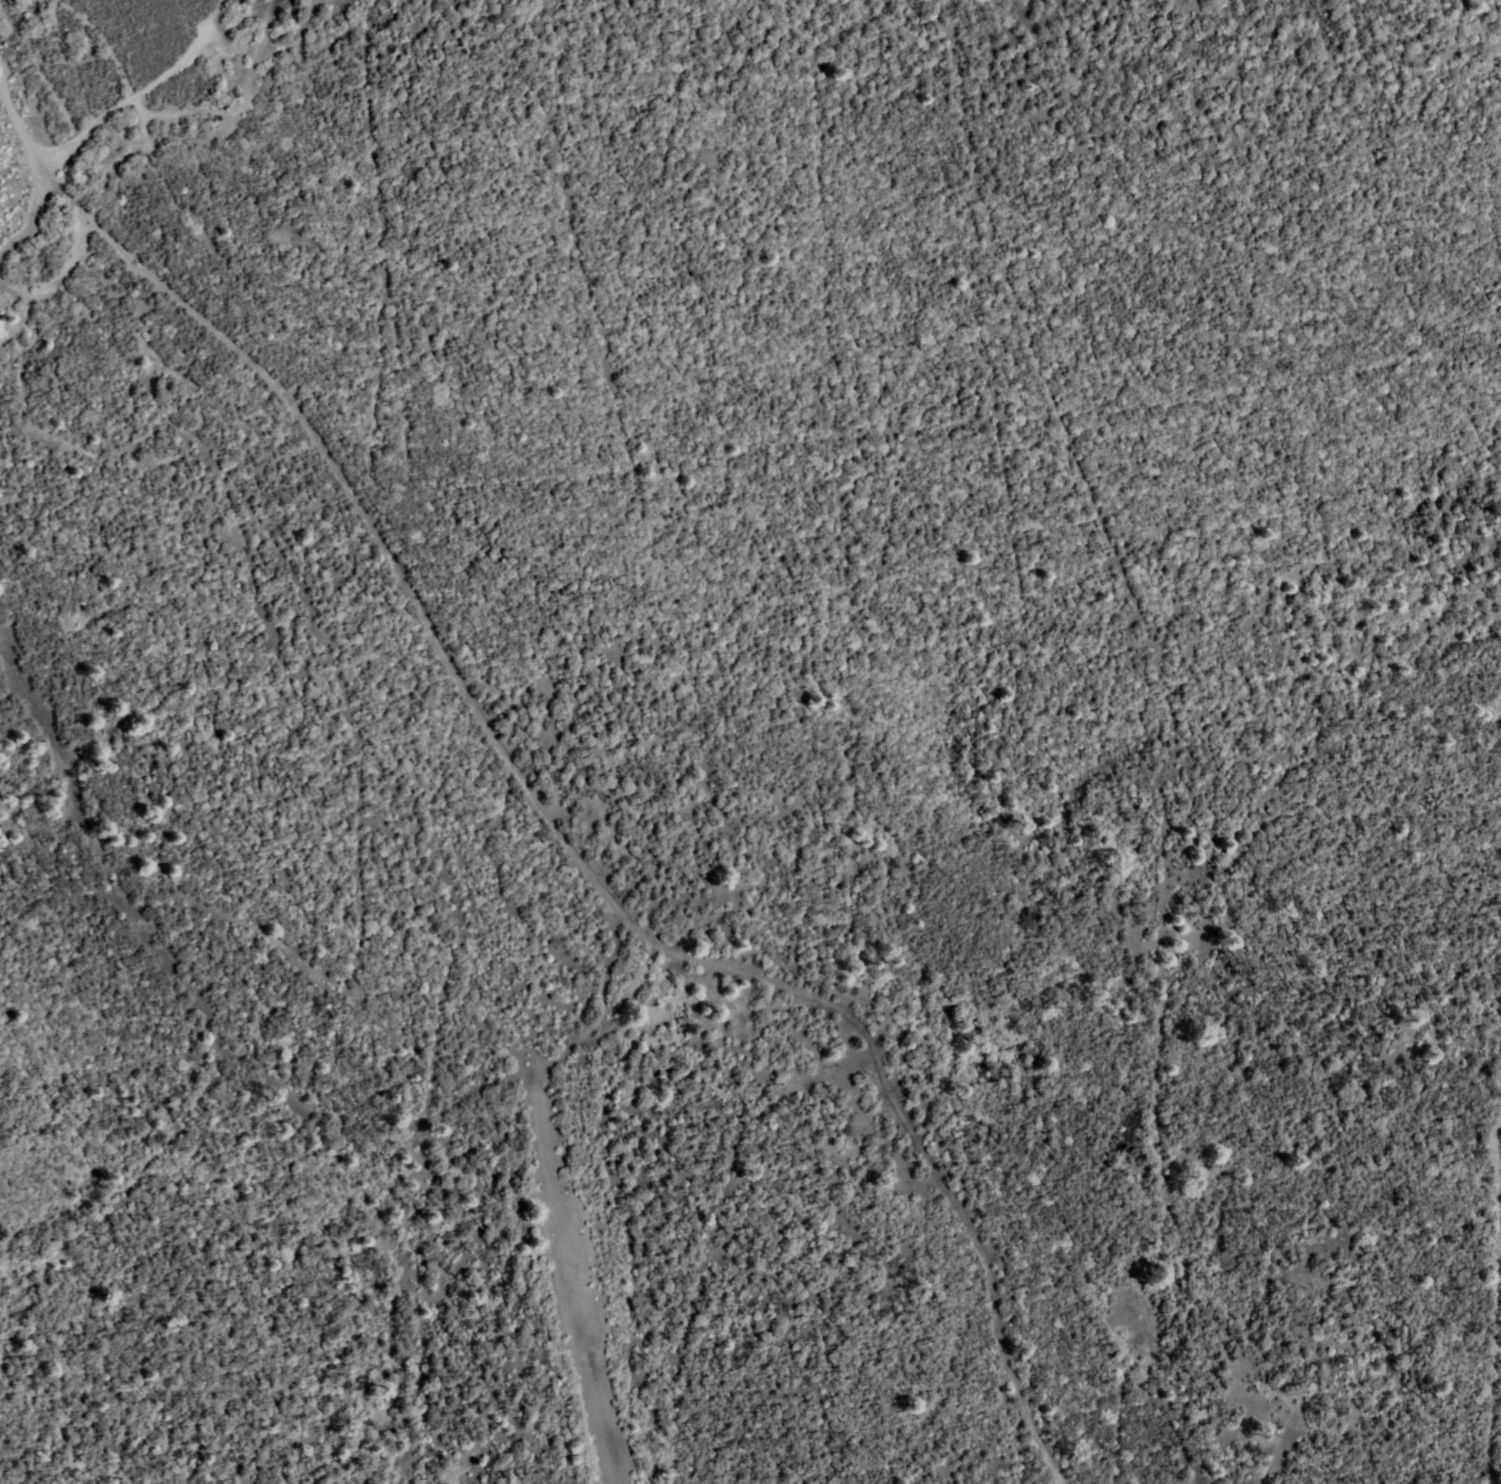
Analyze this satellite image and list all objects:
road: (537, 813)
airport runway: (571, 1345)

